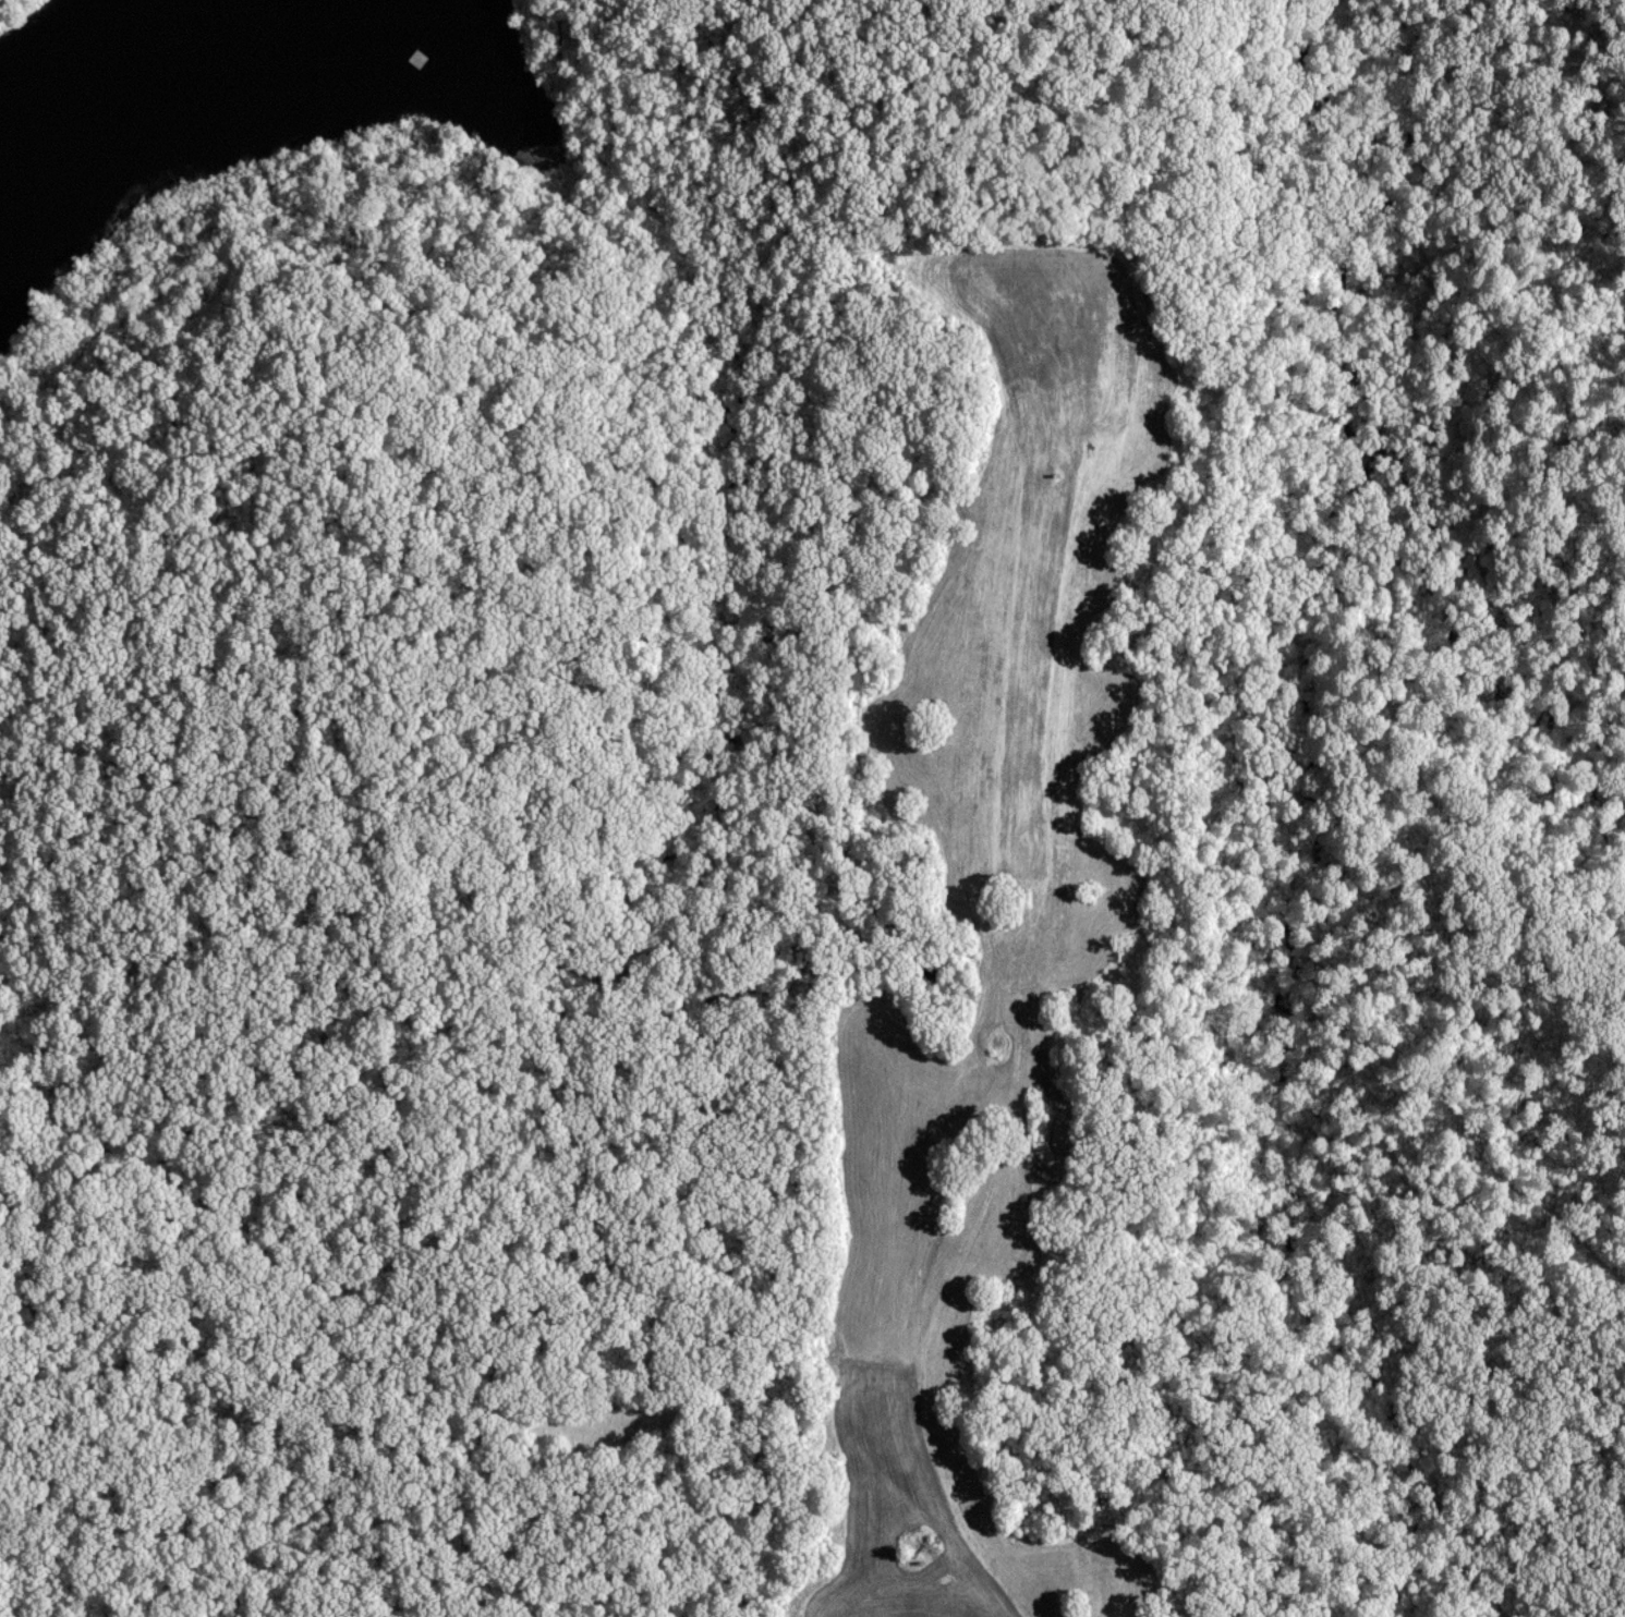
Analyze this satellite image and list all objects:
road: (10, 10)
road: (1368, 59)
road: (368, 185)

